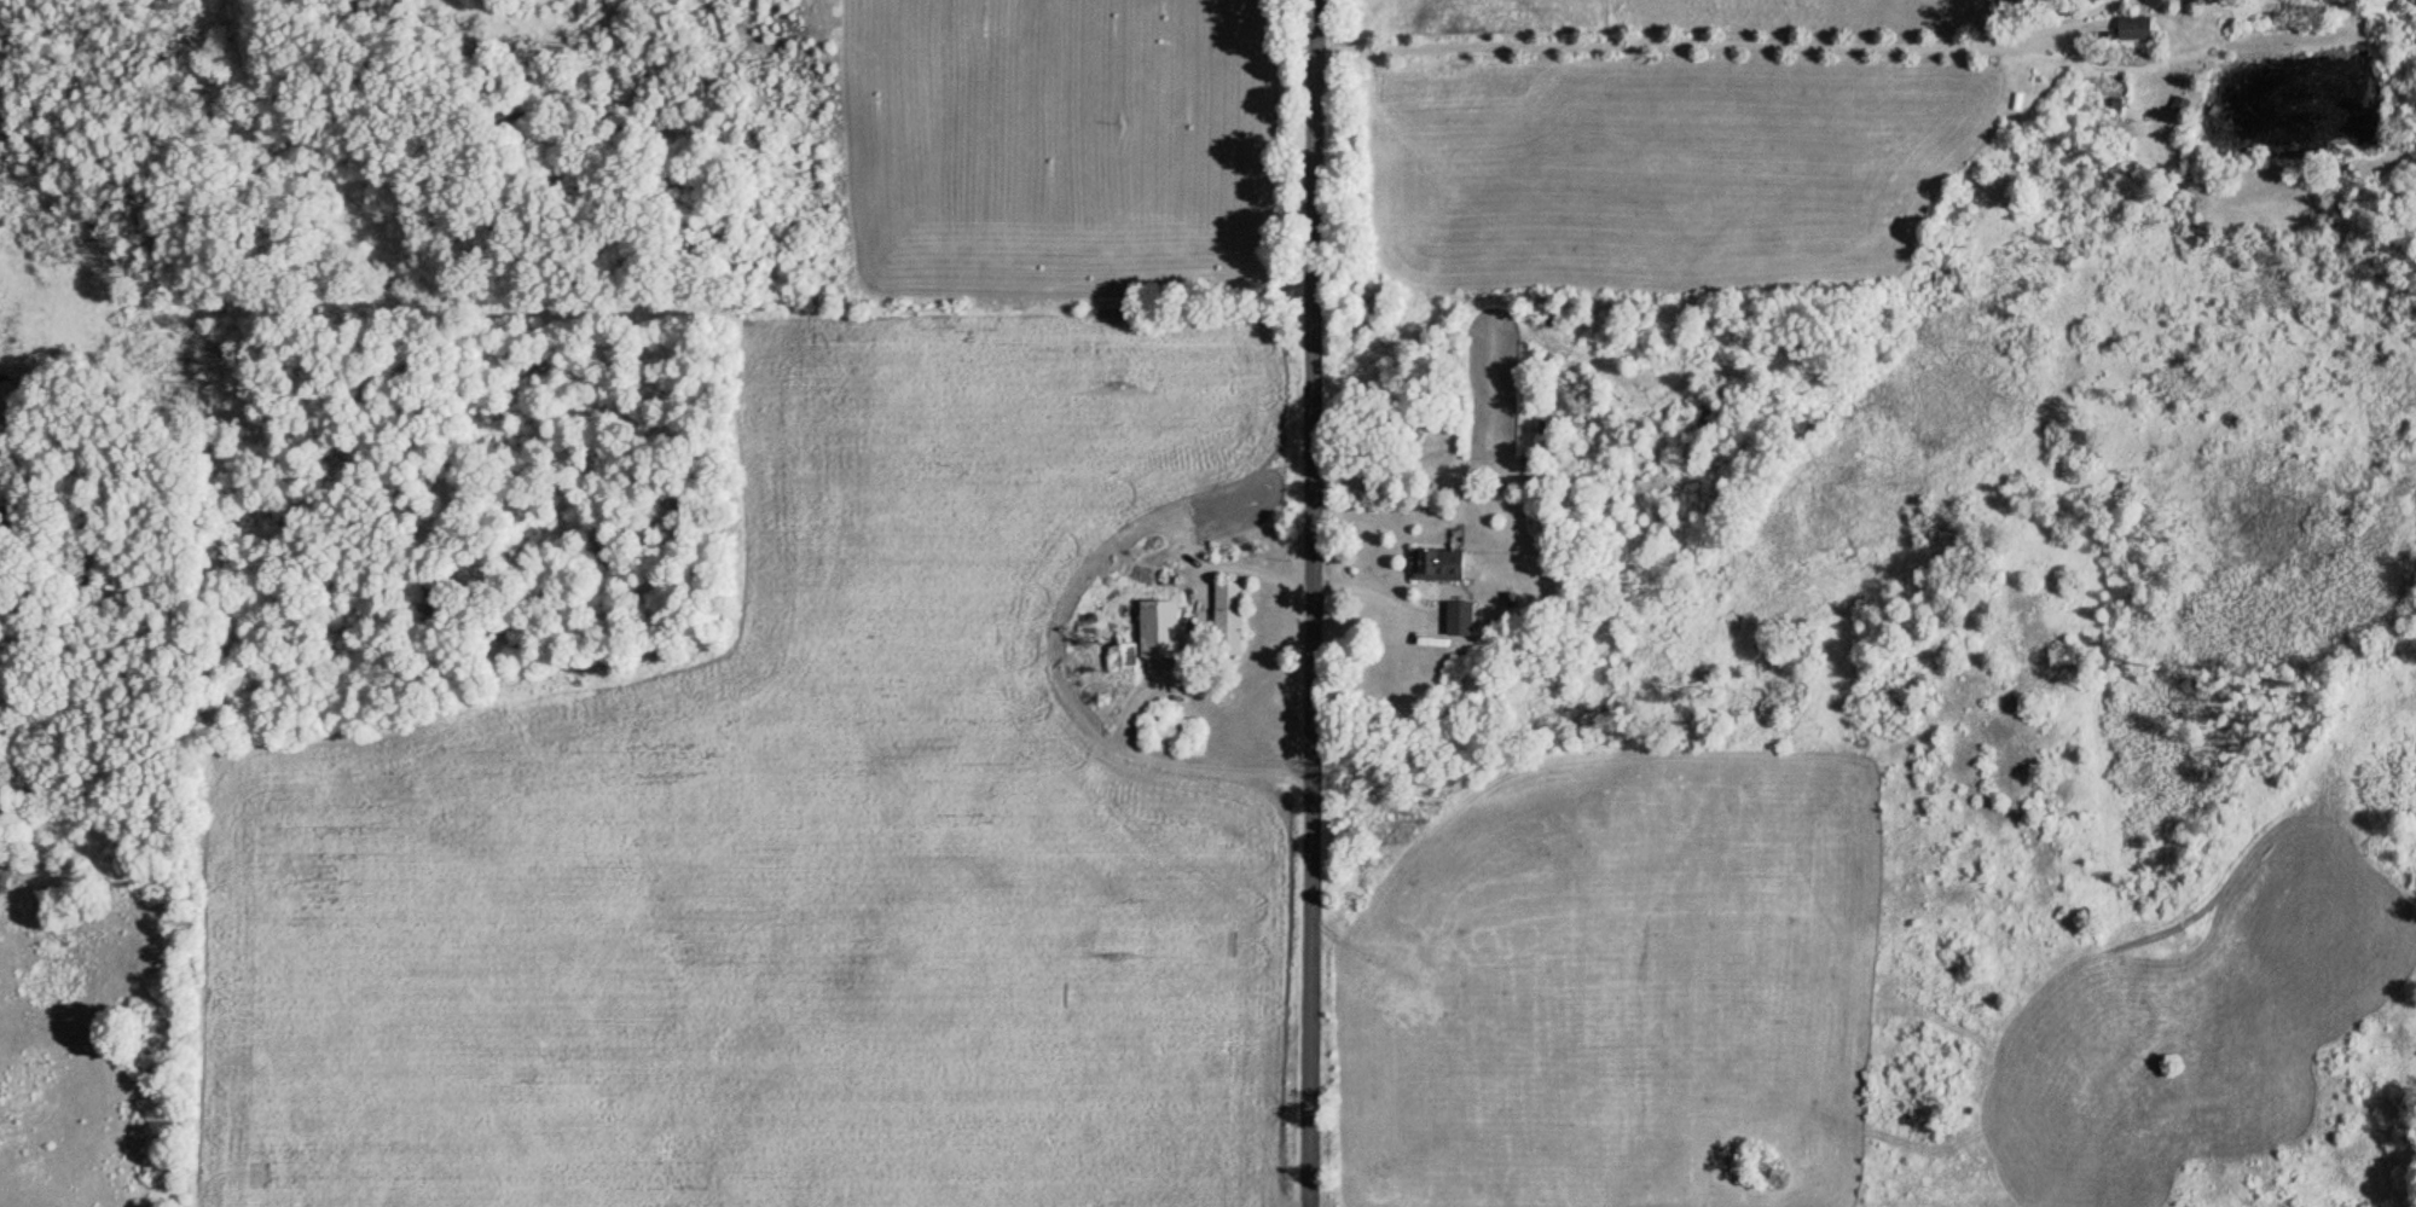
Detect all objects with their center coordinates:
building: (2143, 0)
building: (2128, 27)
building: (1432, 563)
road: (1309, 603)
building: (1223, 617)
building: (1455, 623)
building: (1153, 627)
building: (1117, 655)

